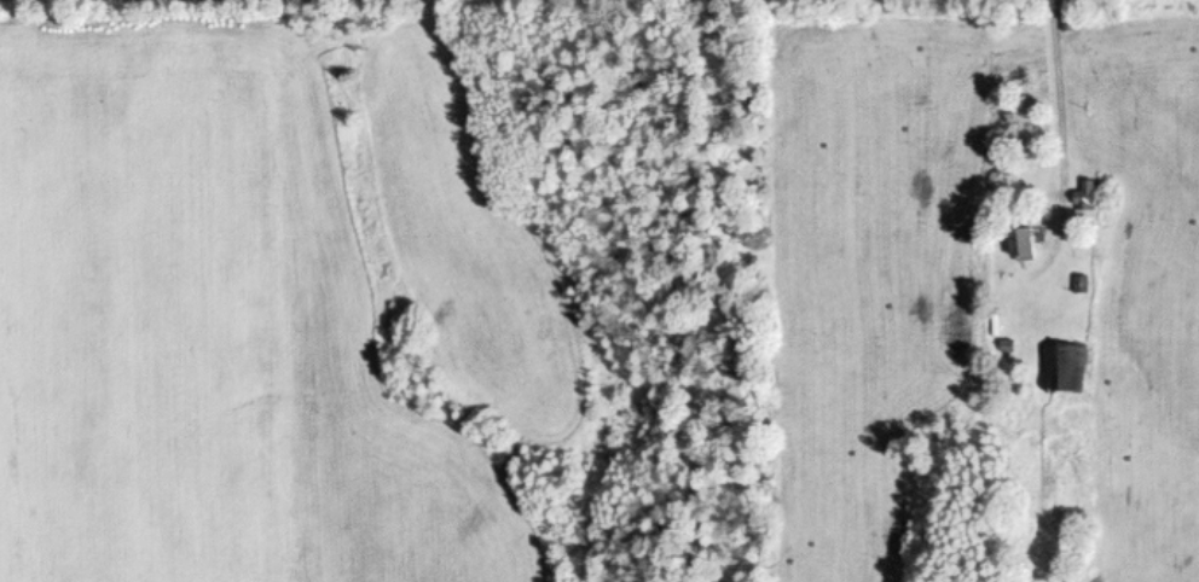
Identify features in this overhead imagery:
building: (1019, 246)

